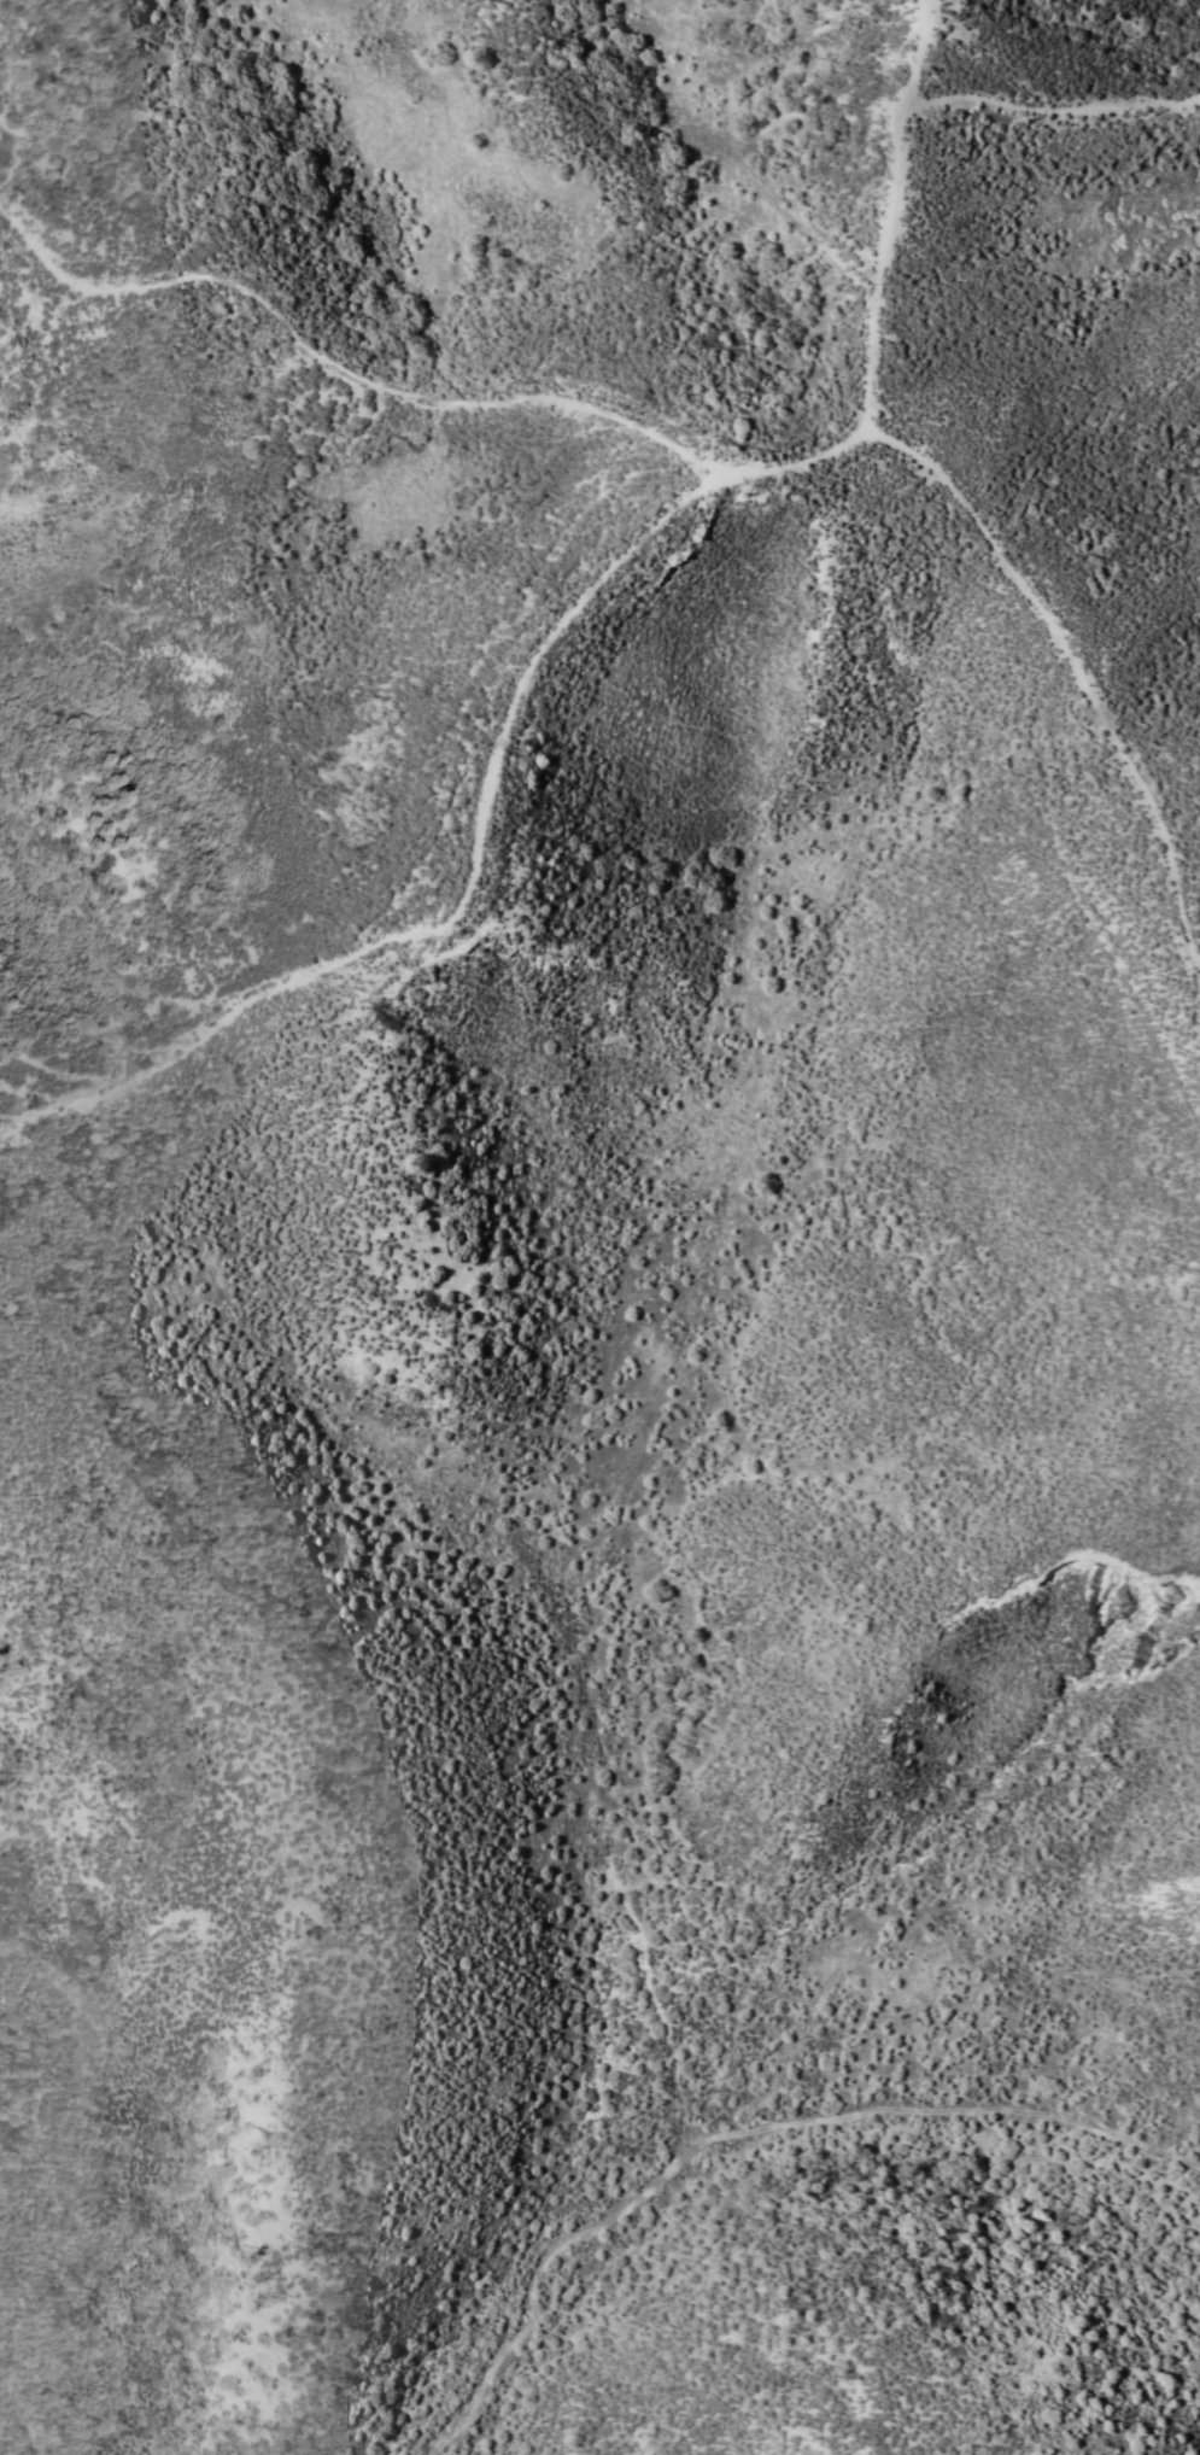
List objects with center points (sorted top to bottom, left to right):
road: (948, 170)
road: (674, 433)
road: (468, 920)

